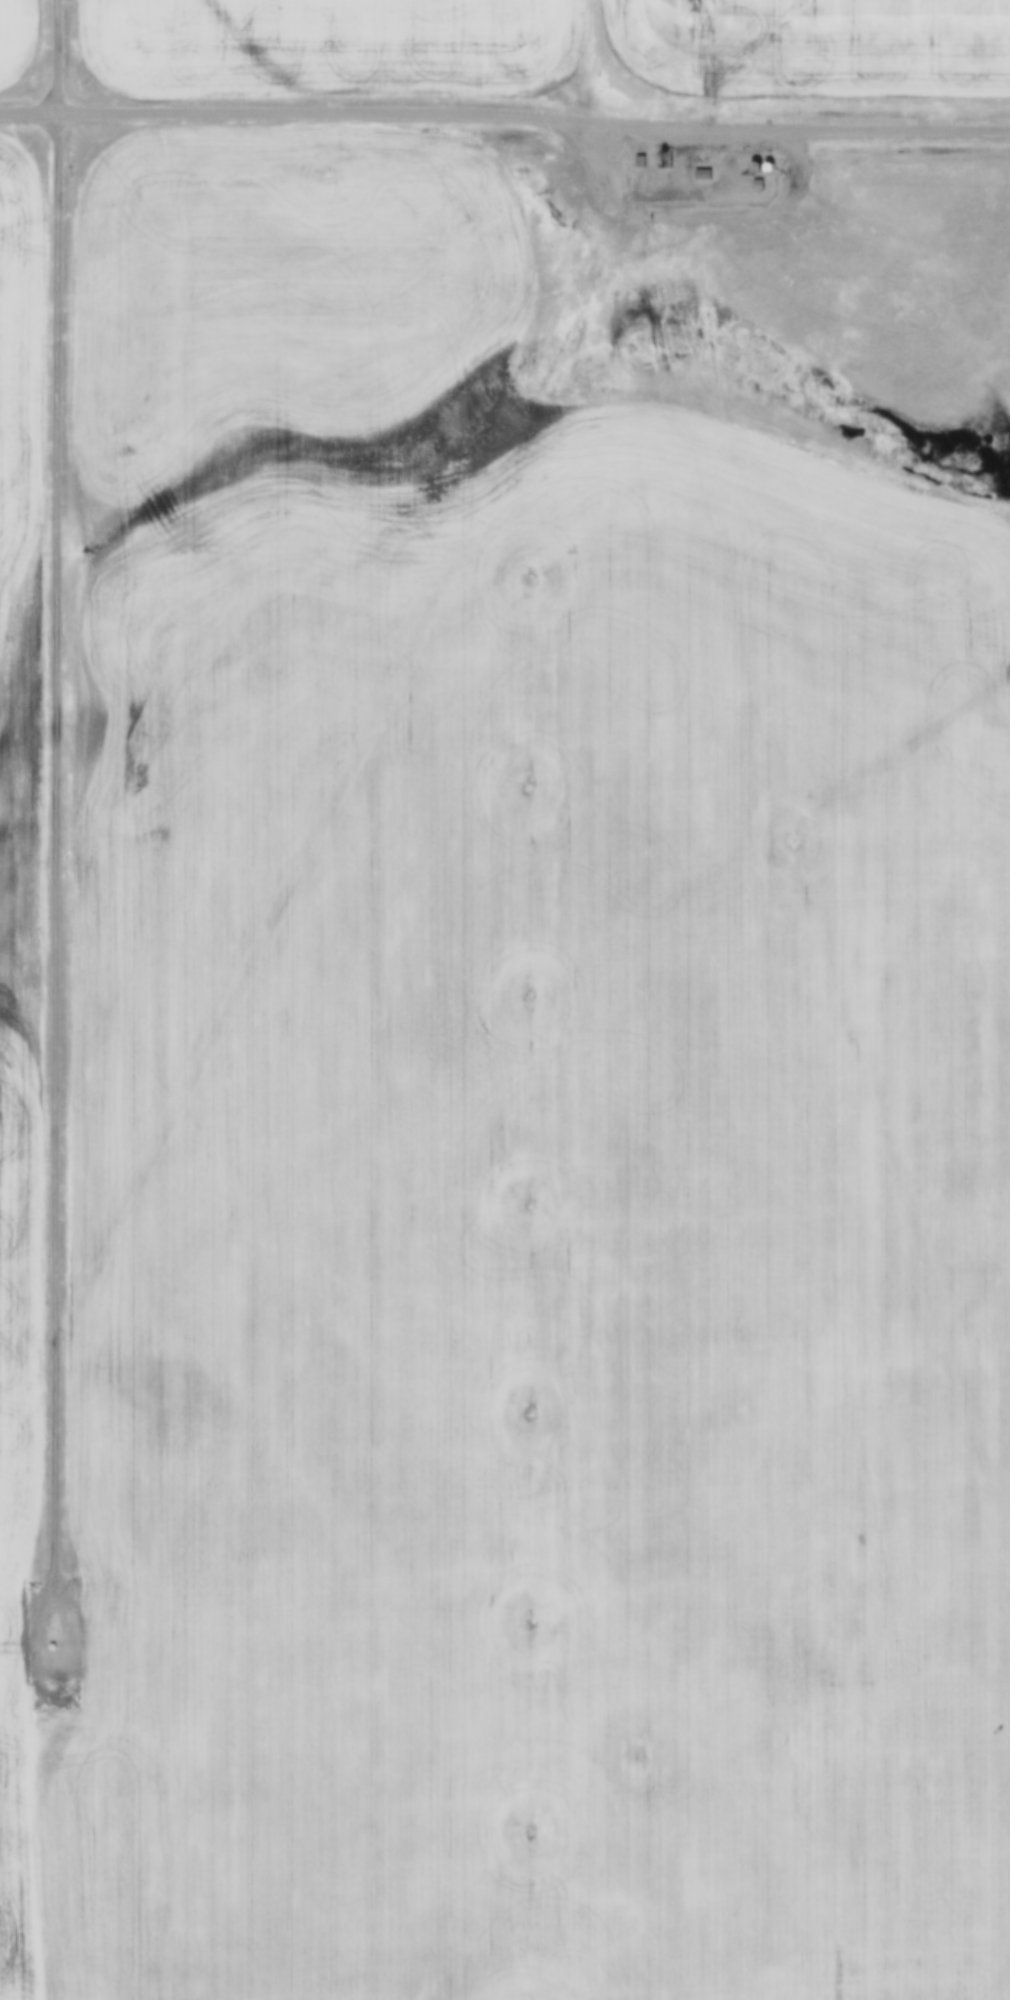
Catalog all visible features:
road: (505, 105)
building: (764, 164)
building: (702, 173)
building: (757, 183)
road: (56, 798)

